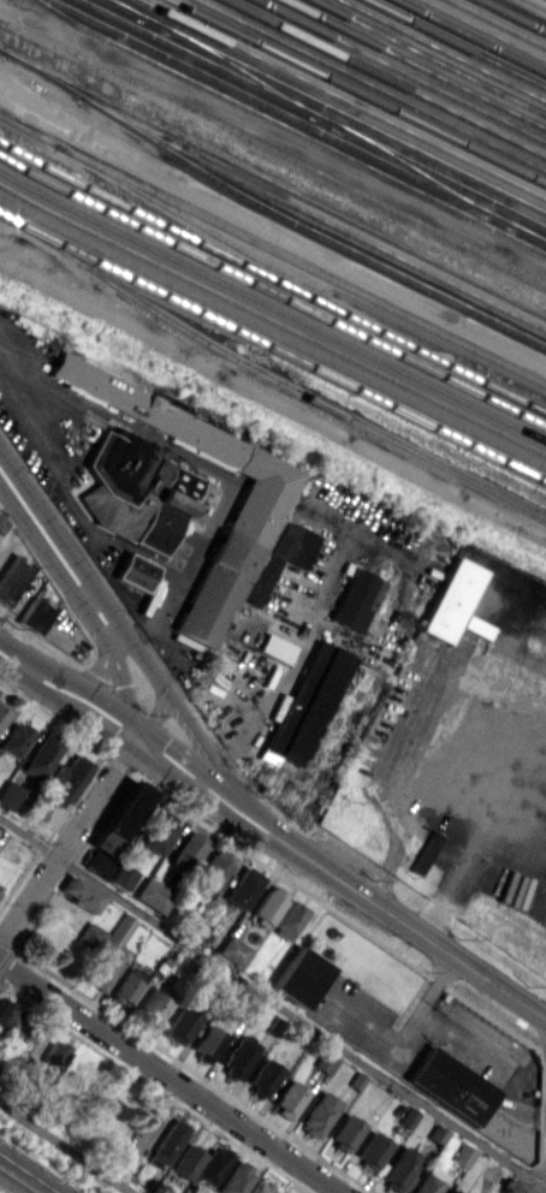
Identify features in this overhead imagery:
railway: (536, 4)
railway: (126, 7)
railway: (523, 10)
railway: (511, 17)
railway: (497, 23)
railway: (482, 30)
railway: (468, 37)
railway: (455, 43)
railway: (441, 51)
railway: (426, 58)
railway: (208, 63)
railway: (413, 64)
railway: (238, 70)
railway: (397, 72)
railway: (382, 78)
railway: (370, 84)
railway: (355, 91)
railway: (342, 99)
railway: (327, 106)
railway: (298, 120)
railway: (289, 130)
road: (273, 140)
railway: (410, 168)
railway: (441, 176)
railway: (273, 182)
railway: (269, 196)
railway: (0, 200)
railway: (307, 227)
railway: (528, 233)
railway: (272, 250)
railway: (247, 253)
railway: (272, 278)
road: (394, 283)
railway: (272, 291)
railway: (272, 305)
railway: (272, 320)
railway: (273, 333)
railway: (273, 345)
railway: (269, 379)
road: (272, 403)
road: (52, 456)
building: (136, 489)
road: (82, 550)
road: (57, 551)
building: (236, 551)
building: (280, 556)
building: (135, 571)
building: (357, 599)
building: (453, 603)
building: (35, 615)
road: (113, 643)
building: (275, 647)
road: (91, 677)
road: (278, 690)
road: (67, 694)
road: (124, 695)
building: (308, 710)
building: (4, 712)
road: (153, 717)
road: (185, 720)
building: (16, 738)
traffic signals: (136, 738)
building: (42, 754)
road: (191, 778)
building: (65, 782)
building: (10, 794)
building: (125, 811)
road: (475, 829)
building: (160, 833)
road: (67, 839)
building: (103, 842)
building: (186, 851)
building: (99, 862)
building: (214, 868)
building: (123, 876)
building: (243, 888)
building: (0, 892)
building: (82, 894)
building: (153, 895)
building: (269, 904)
road: (397, 915)
building: (290, 919)
building: (91, 936)
building: (233, 950)
building: (111, 952)
building: (301, 977)
building: (129, 985)
road: (273, 1001)
building: (4, 1007)
building: (153, 1007)
building: (183, 1023)
building: (13, 1025)
road: (405, 1026)
building: (209, 1043)
building: (29, 1044)
building: (239, 1057)
road: (493, 1060)
building: (48, 1062)
building: (327, 1062)
road: (172, 1075)
building: (265, 1078)
building: (358, 1080)
building: (452, 1085)
building: (291, 1098)
building: (320, 1112)
building: (409, 1116)
building: (346, 1132)
building: (170, 1141)
road: (66, 1146)
building: (374, 1150)
building: (464, 1155)
building: (188, 1161)
building: (129, 1163)
building: (213, 1164)
building: (400, 1169)
railway: (29, 1173)
building: (237, 1177)
railway: (18, 1180)
building: (429, 1183)
building: (263, 1187)
building: (514, 1187)
building: (451, 1192)

